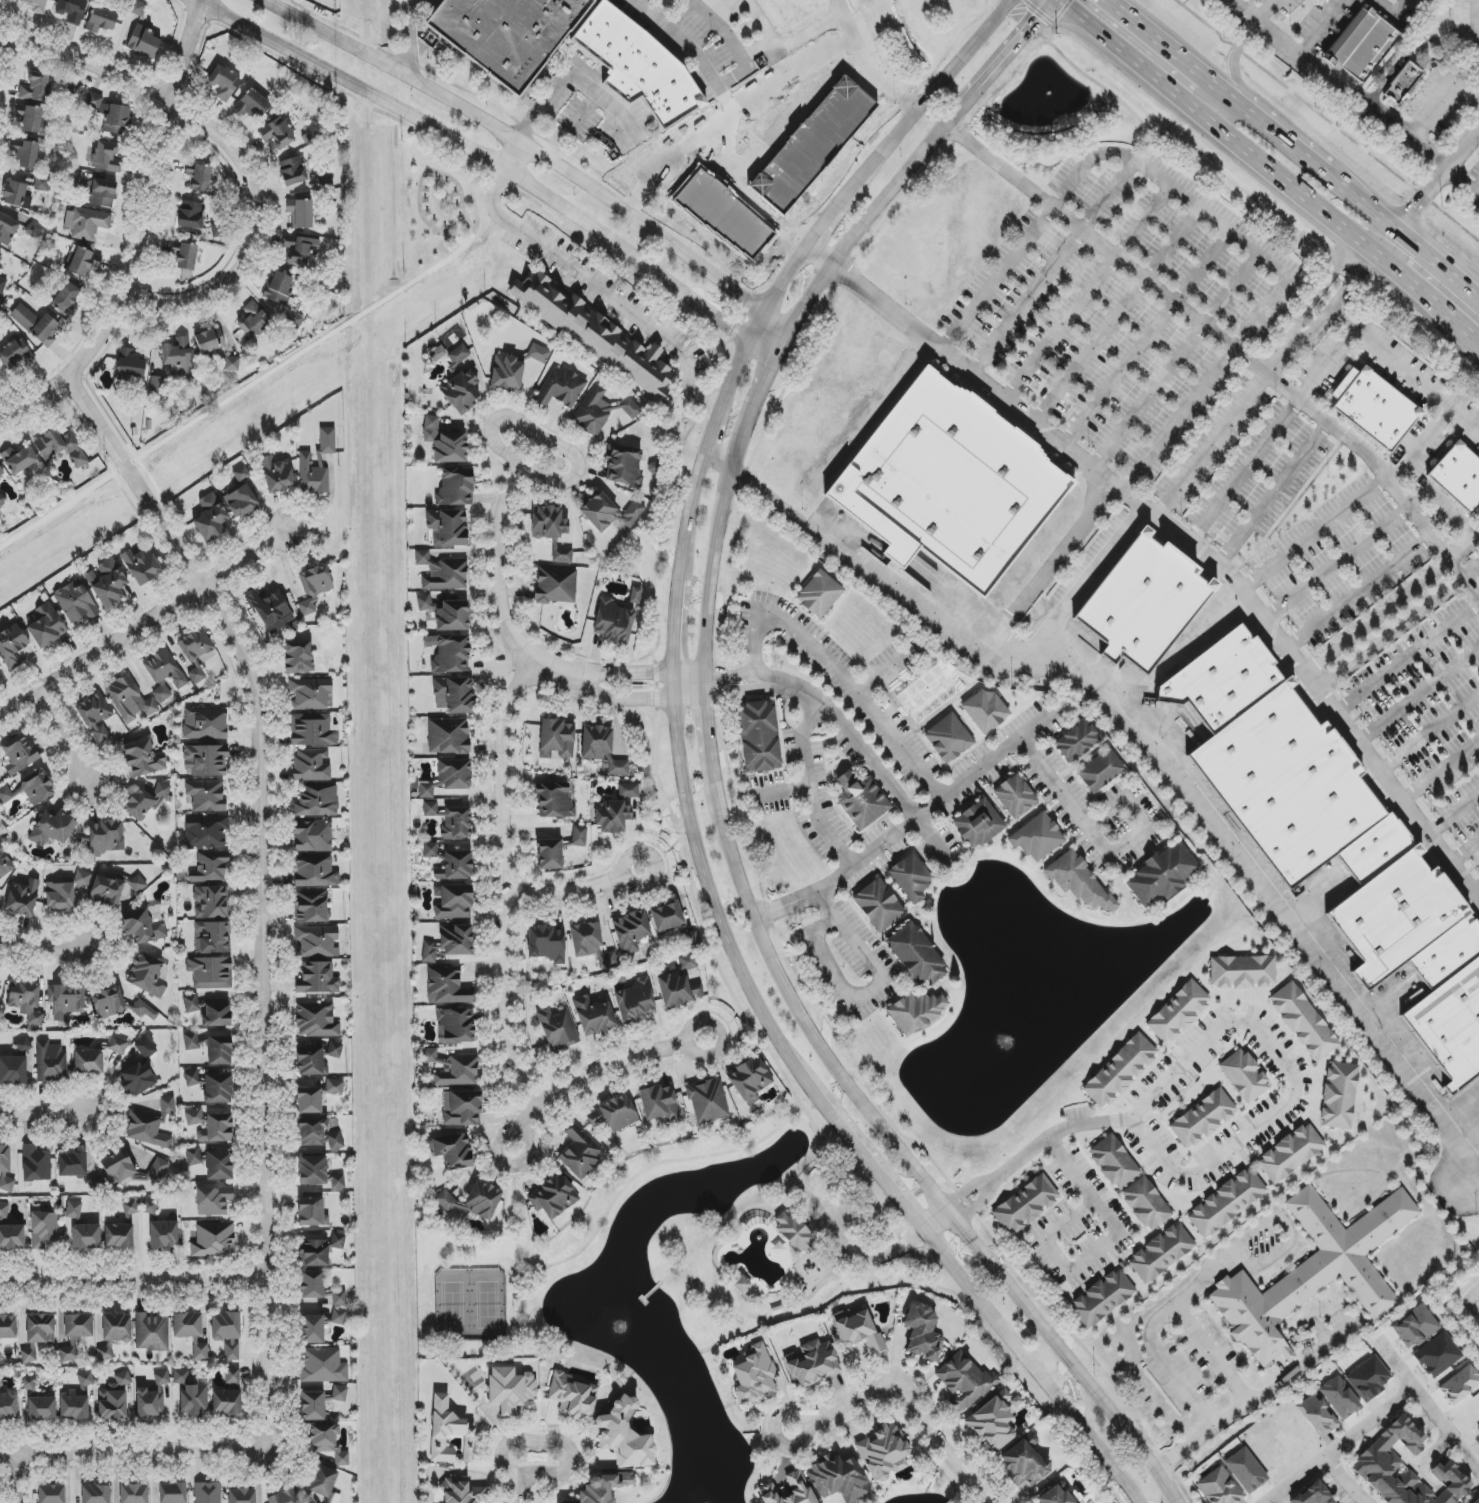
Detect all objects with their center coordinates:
building: (2, 1)
building: (35, 5)
road: (659, 5)
building: (138, 9)
building: (71, 10)
road: (1267, 11)
road: (1393, 16)
traffic signals: (1038, 18)
building: (101, 20)
road: (1473, 20)
road: (1132, 22)
road: (1321, 28)
road: (405, 32)
building: (514, 34)
road: (684, 34)
road: (792, 35)
road: (1244, 38)
building: (144, 42)
building: (1363, 46)
road: (1412, 47)
road: (4, 50)
road: (86, 53)
road: (1006, 55)
road: (744, 56)
road: (869, 63)
building: (643, 66)
road: (575, 77)
building: (223, 83)
road: (1210, 84)
road: (1337, 84)
building: (1400, 85)
building: (36, 87)
road: (1241, 90)
road: (1441, 96)
fountain: (1044, 99)
building: (252, 105)
road: (585, 108)
road: (734, 111)
building: (110, 115)
building: (32, 118)
building: (277, 133)
road: (1225, 134)
road: (544, 146)
road: (522, 150)
road: (1294, 151)
road: (498, 153)
building: (26, 155)
building: (107, 157)
building: (293, 171)
building: (199, 178)
road: (733, 179)
road: (1464, 181)
road: (1437, 182)
building: (41, 185)
building: (102, 193)
building: (16, 195)
building: (297, 212)
building: (190, 215)
road: (875, 215)
road: (254, 220)
building: (86, 223)
road: (777, 226)
building: (7, 229)
building: (34, 230)
road: (137, 230)
road: (1226, 231)
road: (1405, 238)
building: (288, 243)
building: (303, 252)
building: (0, 254)
building: (186, 257)
building: (80, 262)
building: (0, 265)
road: (998, 277)
building: (2, 285)
road: (603, 286)
building: (279, 288)
road: (1160, 288)
building: (66, 300)
road: (1432, 304)
building: (253, 321)
building: (36, 325)
building: (594, 334)
park: (452, 337)
building: (209, 340)
road: (1475, 341)
building: (437, 352)
building: (538, 354)
building: (16, 355)
building: (458, 355)
road: (1385, 355)
building: (177, 356)
road: (773, 363)
building: (231, 364)
building: (130, 366)
building: (507, 373)
building: (160, 384)
building: (561, 388)
building: (461, 392)
road: (995, 392)
building: (1373, 408)
building: (601, 410)
road: (1433, 430)
road: (749, 441)
building: (445, 443)
road: (113, 446)
building: (61, 447)
road: (1367, 456)
building: (18, 459)
building: (317, 465)
building: (623, 467)
road: (1241, 469)
building: (1, 470)
building: (277, 475)
building: (1458, 479)
building: (948, 486)
building: (455, 487)
road: (514, 487)
road: (1271, 493)
building: (243, 495)
building: (2, 501)
building: (610, 510)
building: (211, 517)
building: (548, 523)
building: (447, 527)
road: (1314, 534)
building: (561, 553)
road: (1050, 565)
building: (141, 566)
road: (1220, 568)
road: (1456, 569)
building: (442, 572)
road: (718, 572)
building: (109, 583)
building: (555, 586)
building: (314, 587)
road: (1471, 589)
road: (1358, 593)
building: (819, 594)
building: (635, 595)
building: (75, 603)
building: (1142, 604)
road: (1391, 604)
road: (142, 613)
building: (446, 613)
building: (615, 621)
building: (47, 626)
road: (1398, 628)
road: (956, 629)
building: (12, 645)
building: (195, 653)
building: (451, 655)
road: (1406, 656)
building: (299, 657)
building: (1, 672)
road: (647, 672)
road: (840, 672)
road: (882, 673)
building: (165, 674)
building: (1222, 679)
building: (311, 694)
building: (454, 695)
road: (645, 699)
building: (129, 700)
road: (833, 711)
building: (985, 711)
building: (95, 717)
building: (204, 724)
road: (710, 725)
building: (313, 729)
road: (60, 735)
building: (448, 736)
building: (759, 737)
building: (948, 738)
building: (557, 739)
building: (1077, 741)
building: (602, 749)
building: (18, 755)
building: (143, 758)
building: (205, 760)
building: (311, 765)
road: (685, 770)
building: (1100, 771)
road: (1440, 773)
building: (447, 778)
road: (810, 788)
building: (29, 790)
building: (206, 795)
building: (1015, 796)
building: (555, 800)
building: (861, 800)
building: (145, 801)
building: (316, 802)
building: (430, 809)
building: (617, 810)
building: (456, 823)
building: (978, 824)
road: (906, 825)
building: (52, 829)
building: (205, 830)
building: (313, 836)
building: (578, 836)
building: (105, 837)
building: (1036, 837)
road: (1104, 849)
building: (549, 855)
building: (450, 862)
building: (5, 864)
building: (210, 867)
building: (1352, 867)
building: (315, 872)
building: (1162, 874)
building: (911, 877)
building: (1078, 881)
building: (135, 885)
road: (502, 886)
building: (0, 888)
building: (106, 891)
building: (65, 892)
road: (576, 892)
road: (1475, 892)
building: (23, 897)
road: (1274, 899)
building: (453, 901)
building: (210, 902)
building: (878, 905)
building: (311, 907)
building: (155, 913)
building: (667, 916)
building: (143, 927)
building: (630, 931)
building: (211, 938)
building: (316, 942)
building: (448, 943)
building: (546, 943)
building: (590, 944)
road: (40, 953)
building: (915, 955)
building: (688, 962)
road: (262, 968)
building: (1242, 972)
building: (211, 973)
building: (148, 975)
building: (317, 979)
building: (446, 986)
building: (677, 988)
road: (871, 989)
building: (26, 999)
building: (635, 1000)
building: (66, 1001)
building: (108, 1003)
building: (146, 1010)
building: (210, 1010)
building: (916, 1012)
building: (1178, 1012)
building: (595, 1015)
building: (316, 1019)
building: (1303, 1021)
building: (455, 1026)
building: (558, 1029)
road: (1218, 1029)
fountain: (1006, 1039)
building: (191, 1041)
building: (117, 1045)
building: (146, 1047)
building: (22, 1049)
building: (335, 1050)
building: (219, 1051)
building: (432, 1057)
building: (309, 1060)
building: (50, 1062)
building: (88, 1063)
building: (13, 1071)
building: (1120, 1071)
building: (459, 1072)
road: (591, 1072)
building: (1244, 1076)
building: (194, 1079)
building: (137, 1080)
building: (749, 1080)
building: (335, 1087)
building: (218, 1089)
building: (1339, 1096)
building: (309, 1100)
building: (708, 1100)
building: (659, 1103)
building: (461, 1109)
building: (613, 1114)
road: (45, 1116)
building: (194, 1117)
building: (1203, 1118)
building: (151, 1125)
building: (217, 1129)
building: (317, 1134)
building: (452, 1151)
building: (581, 1152)
building: (1290, 1154)
building: (7, 1159)
building: (213, 1162)
road: (907, 1162)
building: (1114, 1162)
building: (36, 1164)
building: (72, 1165)
building: (118, 1168)
building: (157, 1170)
building: (318, 1173)
building: (6, 1183)
building: (97, 1183)
building: (553, 1196)
building: (213, 1200)
building: (471, 1201)
building: (1226, 1203)
building: (1146, 1204)
building: (1025, 1205)
building: (150, 1206)
building: (130, 1208)
building: (74, 1209)
building: (310, 1212)
building: (44, 1229)
building: (794, 1231)
building: (10, 1232)
building: (164, 1234)
building: (118, 1236)
building: (86, 1237)
building: (213, 1240)
road: (1101, 1247)
building: (778, 1249)
building: (319, 1251)
park: (667, 1253)
building: (1161, 1253)
road: (864, 1254)
building: (1314, 1273)
road: (133, 1283)
building: (741, 1284)
building: (311, 1285)
building: (339, 1298)
building: (1102, 1298)
road: (1163, 1316)
building: (338, 1317)
building: (187, 1325)
building: (7, 1327)
building: (1415, 1327)
building: (117, 1328)
building: (311, 1329)
fountain: (624, 1330)
building: (857, 1330)
building: (152, 1332)
building: (227, 1332)
building: (922, 1332)
building: (38, 1335)
building: (75, 1335)
building: (200, 1351)
building: (104, 1353)
road: (1215, 1353)
building: (1437, 1355)
building: (812, 1364)
building: (322, 1366)
building: (754, 1375)
building: (232, 1376)
building: (180, 1377)
building: (161, 1378)
building: (86, 1379)
building: (1368, 1379)
building: (963, 1380)
building: (29, 1384)
building: (1460, 1385)
building: (511, 1390)
building: (339, 1393)
road: (902, 1393)
building: (573, 1397)
building: (1340, 1398)
building: (114, 1399)
building: (194, 1400)
road: (1252, 1400)
building: (149, 1403)
building: (226, 1403)
building: (8, 1406)
building: (312, 1406)
road: (1427, 1408)
building: (41, 1409)
building: (1318, 1415)
building: (993, 1421)
building: (450, 1432)
building: (625, 1435)
building: (326, 1445)
road: (1339, 1445)
building: (882, 1453)
road: (133, 1455)
building: (1376, 1457)
building: (1023, 1463)
building: (1246, 1470)
building: (838, 1478)
road: (14, 1480)
building: (322, 1481)
road: (1343, 1481)
road: (520, 1482)
building: (798, 1485)
building: (603, 1487)
building: (1219, 1487)
building: (462, 1491)
building: (207, 1492)
building: (51, 1493)
building: (134, 1493)
building: (173, 1493)
building: (95, 1494)
building: (245, 1495)
building: (1055, 1495)
building: (1313, 1495)
building: (286, 1496)
building: (1477, 1501)
building: (328, 1502)

